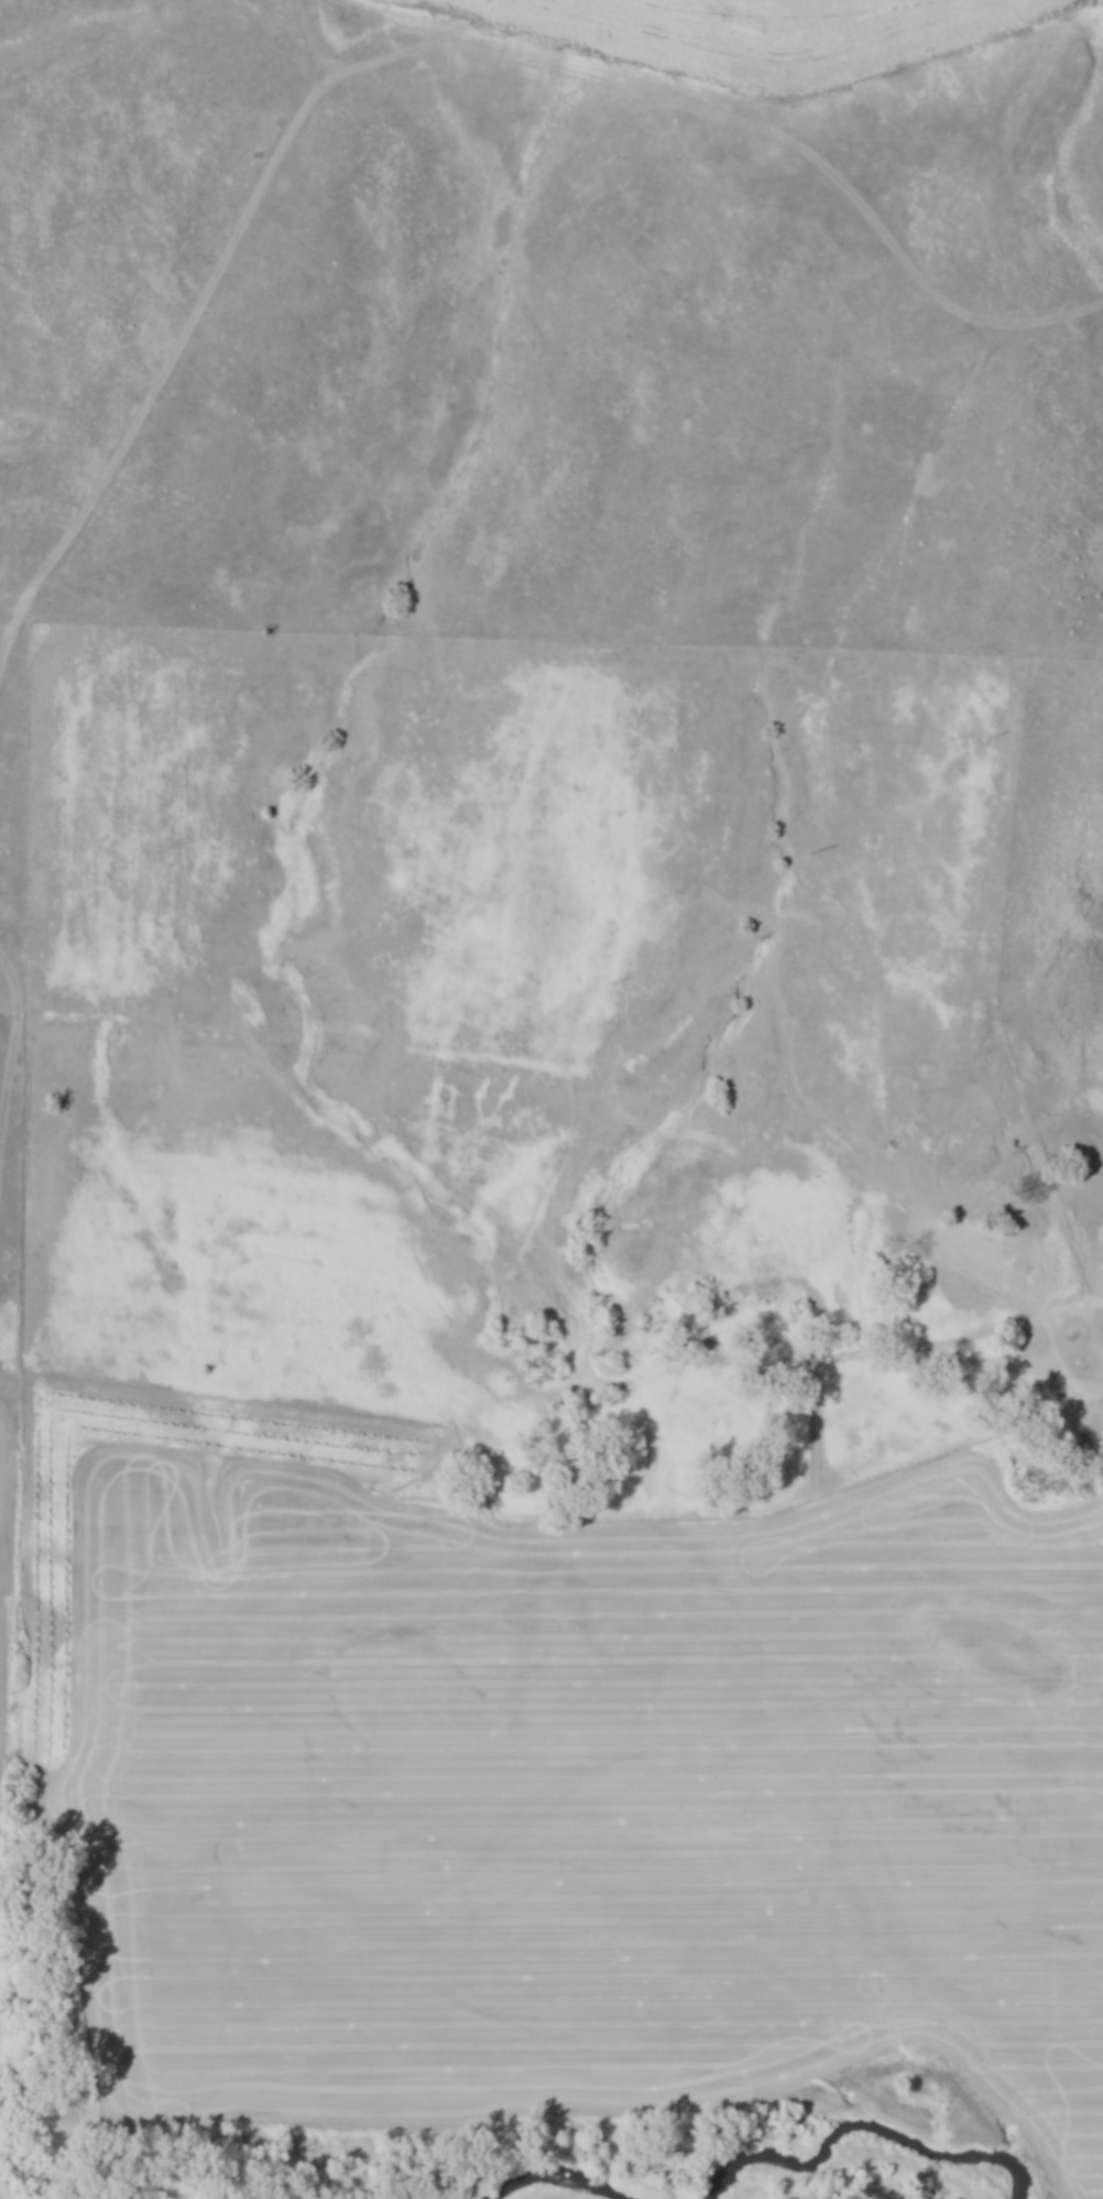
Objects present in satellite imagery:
crop: (4, 1526)

